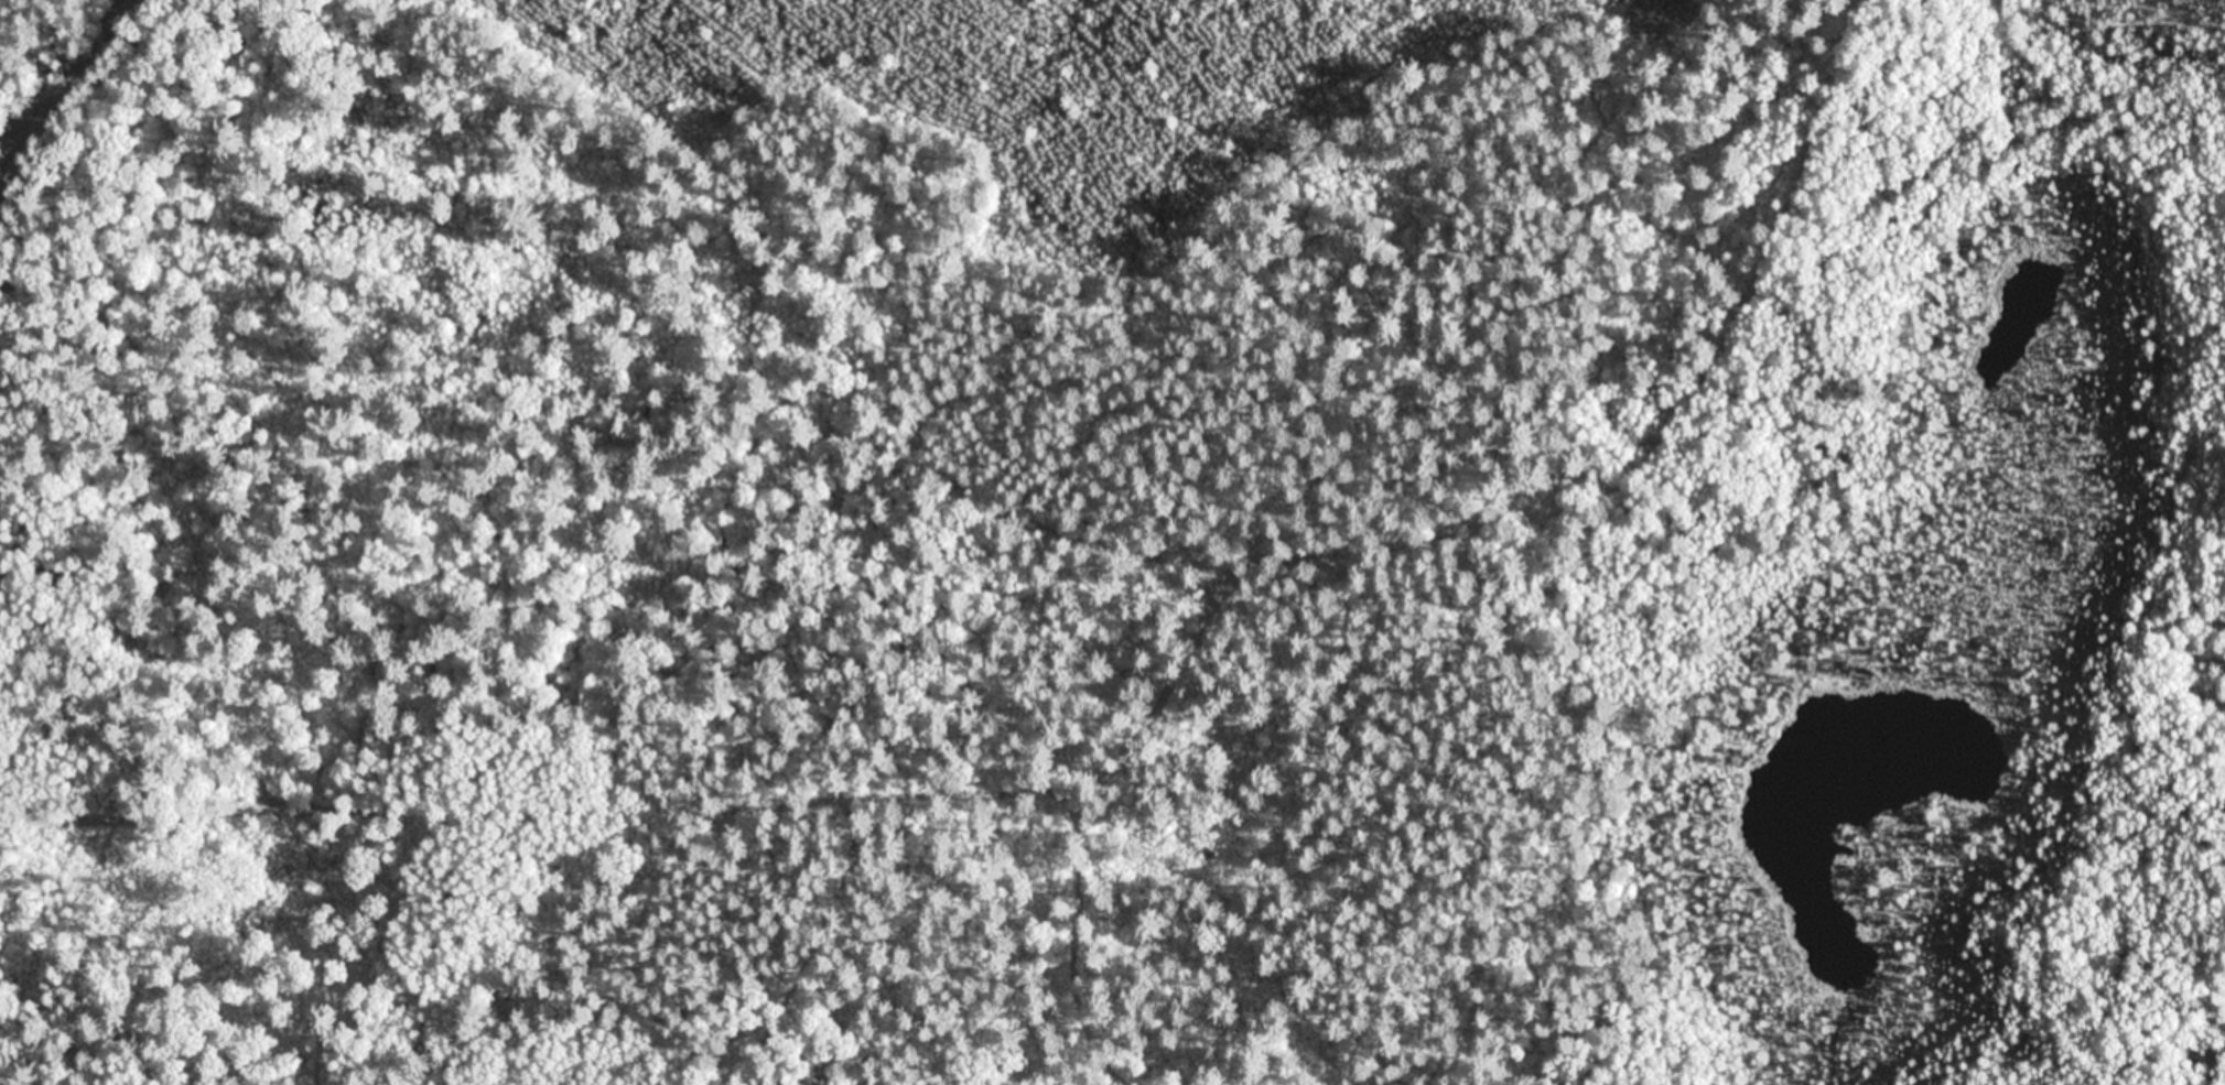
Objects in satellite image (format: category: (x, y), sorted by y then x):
road: (46, 107)

